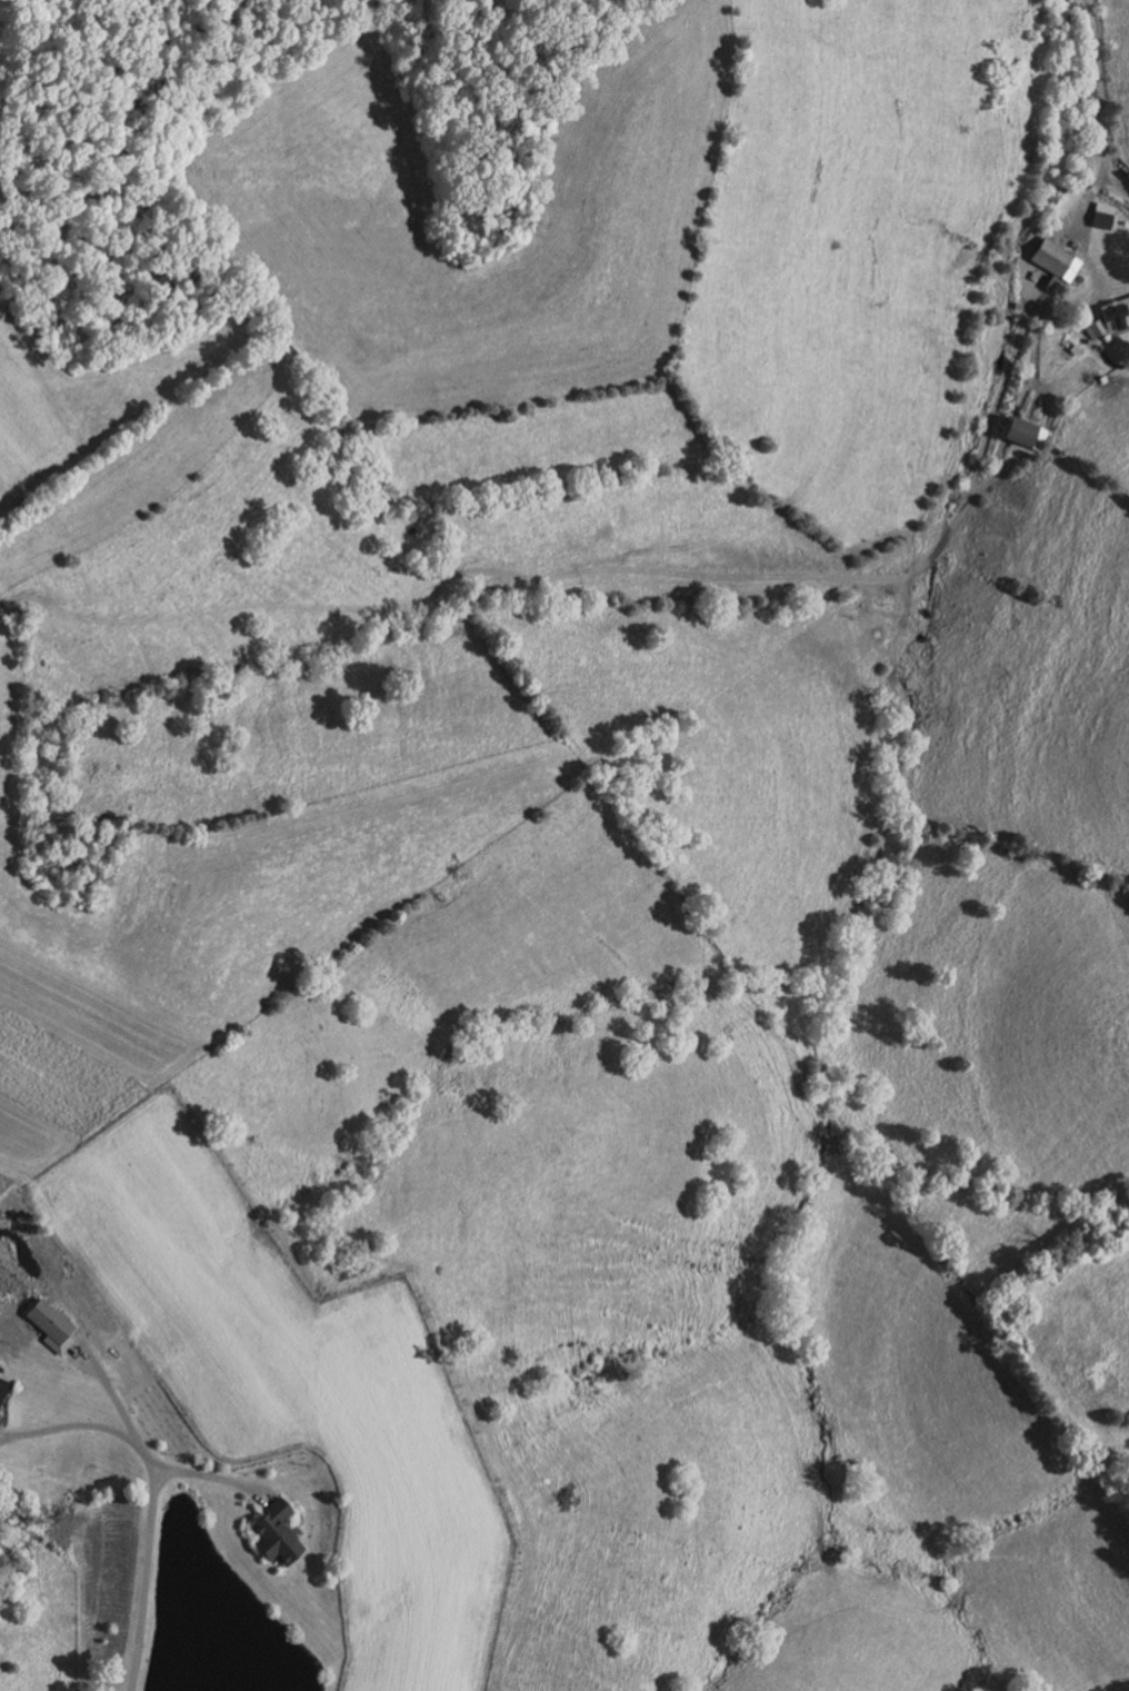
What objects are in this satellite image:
road: (1102, 100)
road: (1090, 199)
building: (1067, 201)
building: (1106, 215)
building: (1057, 261)
building: (1116, 317)
building: (1095, 329)
building: (1027, 435)
road: (651, 567)
crop: (60, 1077)
crop: (3, 1181)
building: (50, 1323)
building: (3, 1385)
road: (109, 1389)
road: (83, 1425)
road: (213, 1475)
building: (274, 1533)
road: (142, 1579)

